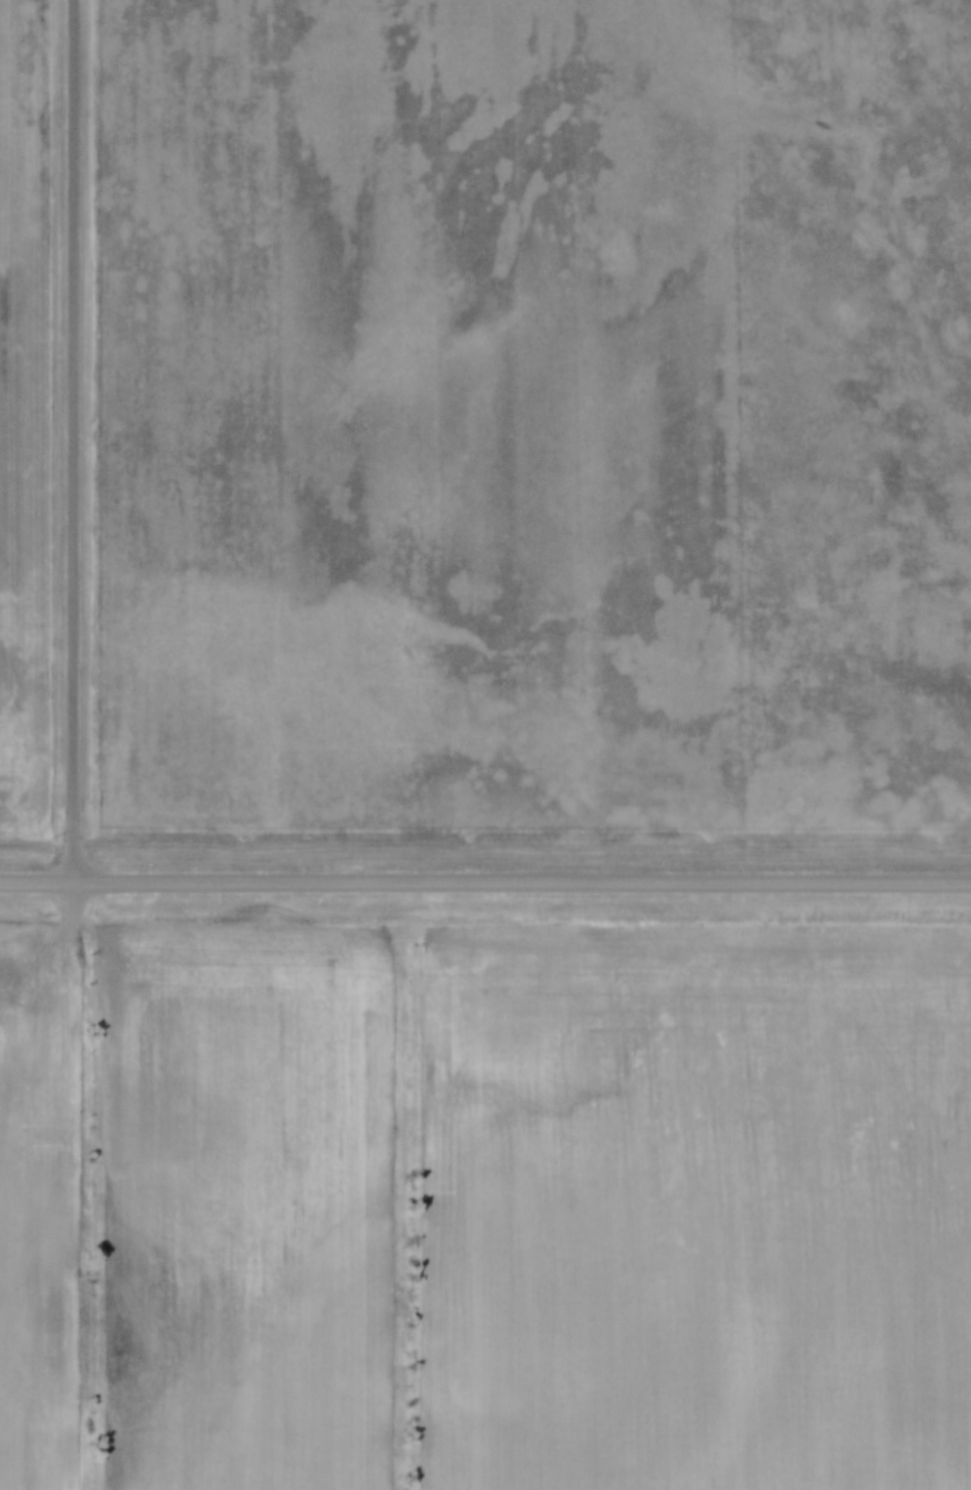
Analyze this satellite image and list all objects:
road: (79, 441)
road: (485, 882)

